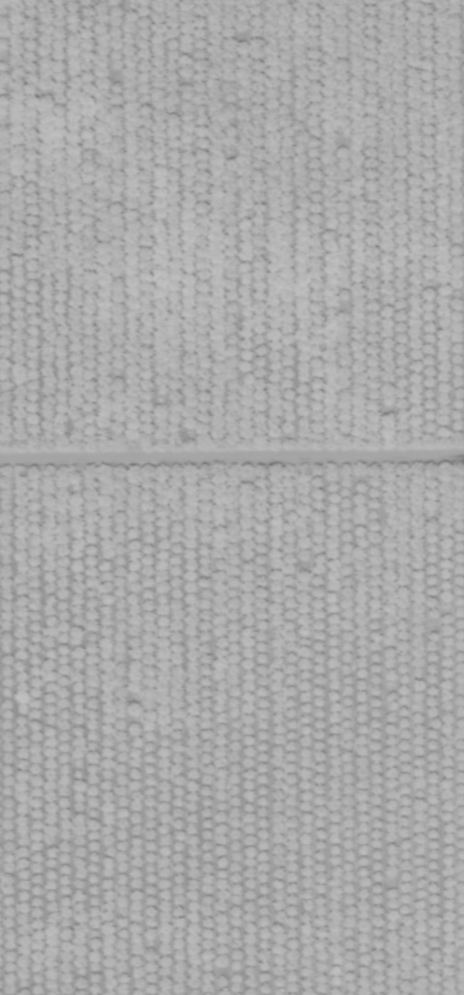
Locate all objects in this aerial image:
crop: (232, 497)

